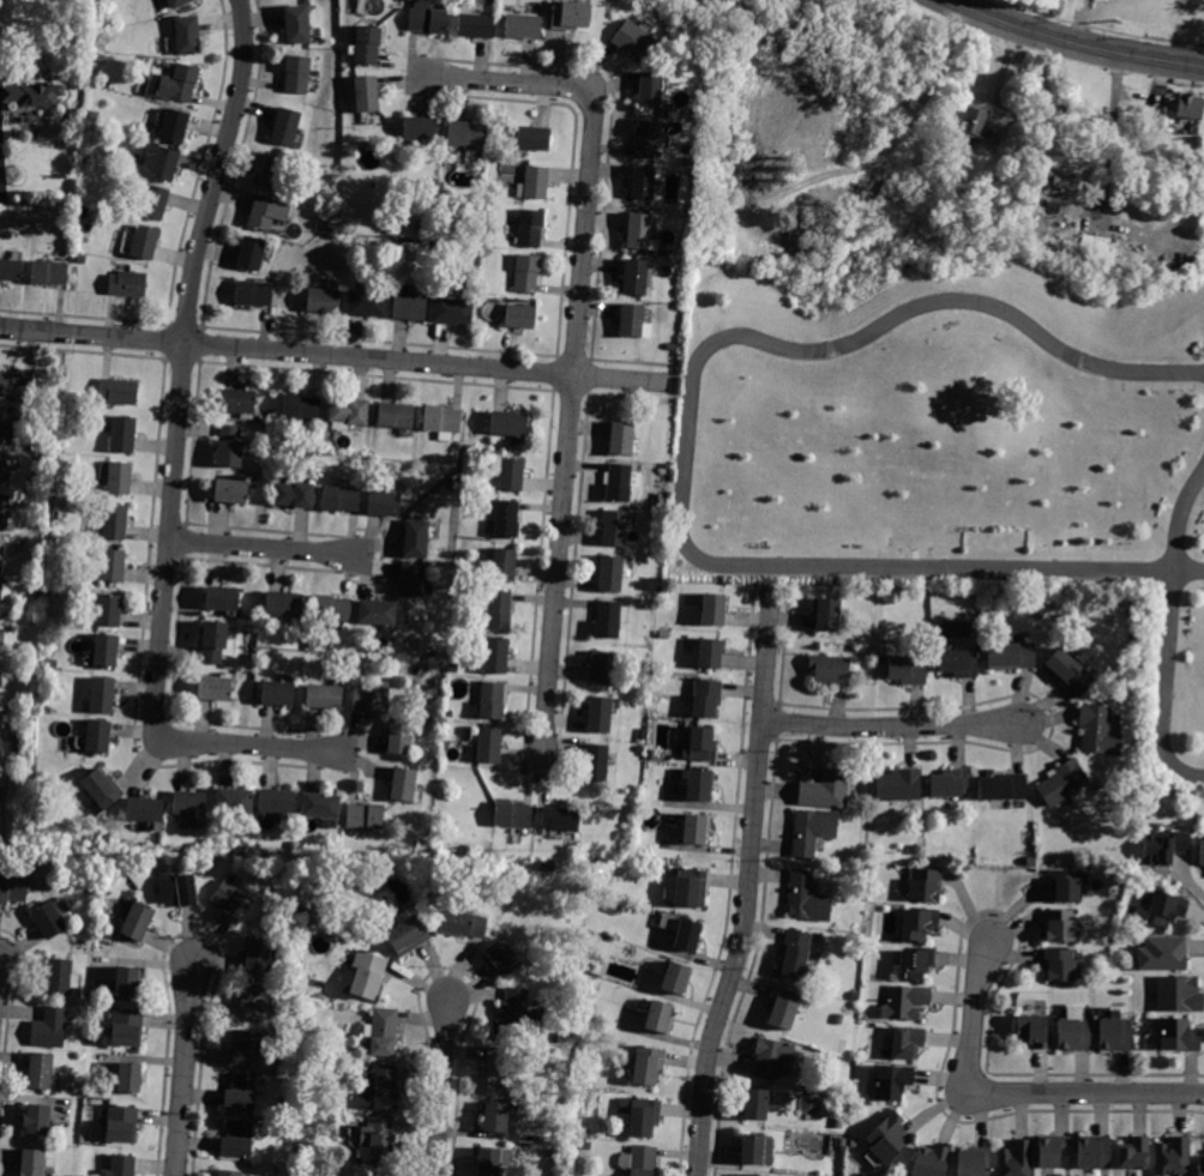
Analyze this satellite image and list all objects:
building: (177, 2)
building: (570, 16)
building: (427, 18)
building: (297, 24)
building: (475, 25)
building: (522, 26)
building: (187, 35)
building: (633, 41)
road: (1073, 42)
building: (367, 44)
building: (98, 58)
building: (297, 74)
building: (173, 83)
building: (650, 88)
building: (34, 94)
building: (367, 94)
building: (1187, 105)
building: (694, 113)
building: (970, 122)
building: (175, 126)
building: (285, 126)
building: (419, 131)
building: (465, 133)
road: (1110, 137)
building: (532, 138)
building: (646, 138)
road: (896, 140)
building: (90, 157)
building: (164, 164)
building: (273, 173)
building: (751, 176)
building: (532, 183)
building: (645, 183)
building: (1058, 192)
building: (686, 200)
building: (153, 201)
building: (267, 212)
building: (419, 224)
building: (530, 228)
building: (638, 230)
building: (1025, 236)
building: (144, 242)
building: (252, 253)
building: (10, 270)
building: (49, 272)
building: (526, 273)
building: (636, 277)
building: (127, 283)
building: (254, 294)
building: (324, 301)
road: (941, 302)
building: (367, 303)
building: (410, 308)
building: (453, 310)
building: (520, 316)
building: (631, 320)
road: (576, 342)
road: (337, 356)
building: (16, 384)
building: (119, 391)
building: (240, 402)
building: (301, 410)
building: (349, 412)
building: (397, 416)
building: (443, 421)
building: (7, 424)
building: (510, 424)
building: (124, 434)
building: (622, 439)
park: (955, 439)
building: (230, 447)
building: (5, 469)
road: (173, 471)
building: (508, 472)
building: (661, 475)
building: (118, 477)
building: (620, 482)
building: (231, 490)
building: (295, 494)
building: (342, 497)
building: (657, 499)
building: (385, 503)
building: (4, 511)
building: (506, 519)
road: (1184, 519)
building: (114, 520)
building: (614, 527)
building: (416, 539)
road: (273, 550)
building: (1, 554)
building: (110, 565)
building: (504, 565)
road: (836, 571)
building: (610, 573)
road: (1190, 575)
building: (413, 580)
building: (666, 590)
building: (5, 592)
building: (223, 598)
building: (285, 605)
building: (332, 608)
building: (499, 609)
building: (712, 609)
building: (109, 610)
building: (1039, 613)
building: (378, 614)
building: (826, 614)
building: (609, 619)
building: (663, 635)
building: (213, 641)
building: (106, 651)
building: (710, 653)
building: (496, 656)
building: (1011, 657)
building: (958, 662)
building: (603, 667)
building: (457, 669)
building: (830, 669)
building: (908, 670)
building: (1067, 673)
building: (213, 688)
road: (1164, 689)
building: (278, 693)
building: (102, 695)
building: (325, 696)
building: (372, 698)
building: (706, 698)
building: (492, 700)
building: (600, 714)
road: (892, 725)
building: (446, 726)
building: (1097, 730)
building: (0, 736)
building: (95, 736)
building: (401, 736)
building: (488, 744)
building: (699, 744)
building: (595, 762)
building: (1062, 782)
building: (403, 784)
building: (949, 784)
building: (699, 785)
building: (898, 785)
building: (1001, 786)
building: (825, 790)
building: (101, 791)
building: (277, 801)
building: (235, 802)
building: (321, 806)
building: (191, 807)
building: (146, 812)
building: (513, 815)
building: (365, 816)
building: (560, 819)
building: (694, 828)
building: (812, 830)
building: (1164, 848)
building: (1202, 852)
building: (317, 862)
building: (1030, 862)
building: (600, 867)
road: (747, 883)
building: (379, 886)
building: (1065, 886)
building: (928, 887)
building: (13, 888)
building: (691, 888)
building: (179, 891)
building: (807, 898)
building: (231, 901)
building: (1166, 909)
building: (49, 919)
building: (138, 921)
building: (464, 923)
building: (919, 924)
building: (1059, 925)
building: (682, 931)
building: (409, 934)
building: (797, 954)
building: (1162, 954)
building: (259, 955)
building: (504, 955)
building: (601, 957)
building: (916, 964)
building: (1059, 965)
building: (366, 973)
building: (61, 977)
building: (675, 978)
building: (126, 982)
building: (1181, 999)
building: (252, 1002)
building: (904, 1002)
building: (785, 1007)
building: (517, 1015)
building: (658, 1018)
building: (838, 1019)
building: (127, 1027)
building: (49, 1029)
building: (1033, 1031)
building: (383, 1032)
building: (1072, 1036)
building: (1113, 1036)
building: (1184, 1039)
building: (907, 1042)
building: (245, 1049)
building: (772, 1057)
building: (648, 1065)
road: (183, 1068)
building: (40, 1069)
building: (499, 1071)
building: (128, 1078)
building: (892, 1081)
building: (385, 1086)
road: (441, 1086)
building: (241, 1092)
road: (1006, 1094)
building: (755, 1104)
building: (640, 1115)
building: (496, 1116)
building: (36, 1118)
building: (839, 1122)
building: (121, 1124)
building: (887, 1138)
building: (237, 1139)
building: (379, 1140)
building: (841, 1142)
building: (584, 1146)
building: (314, 1150)
building: (757, 1150)
building: (1053, 1151)
building: (1094, 1152)
building: (549, 1153)
building: (1133, 1153)
building: (1173, 1158)
building: (1016, 1159)
building: (493, 1160)
building: (643, 1160)
building: (32, 1162)
building: (931, 1162)
building: (970, 1163)
building: (120, 1166)
building: (1200, 1168)
building: (229, 1172)
building: (380, 1174)
building: (748, 1175)

